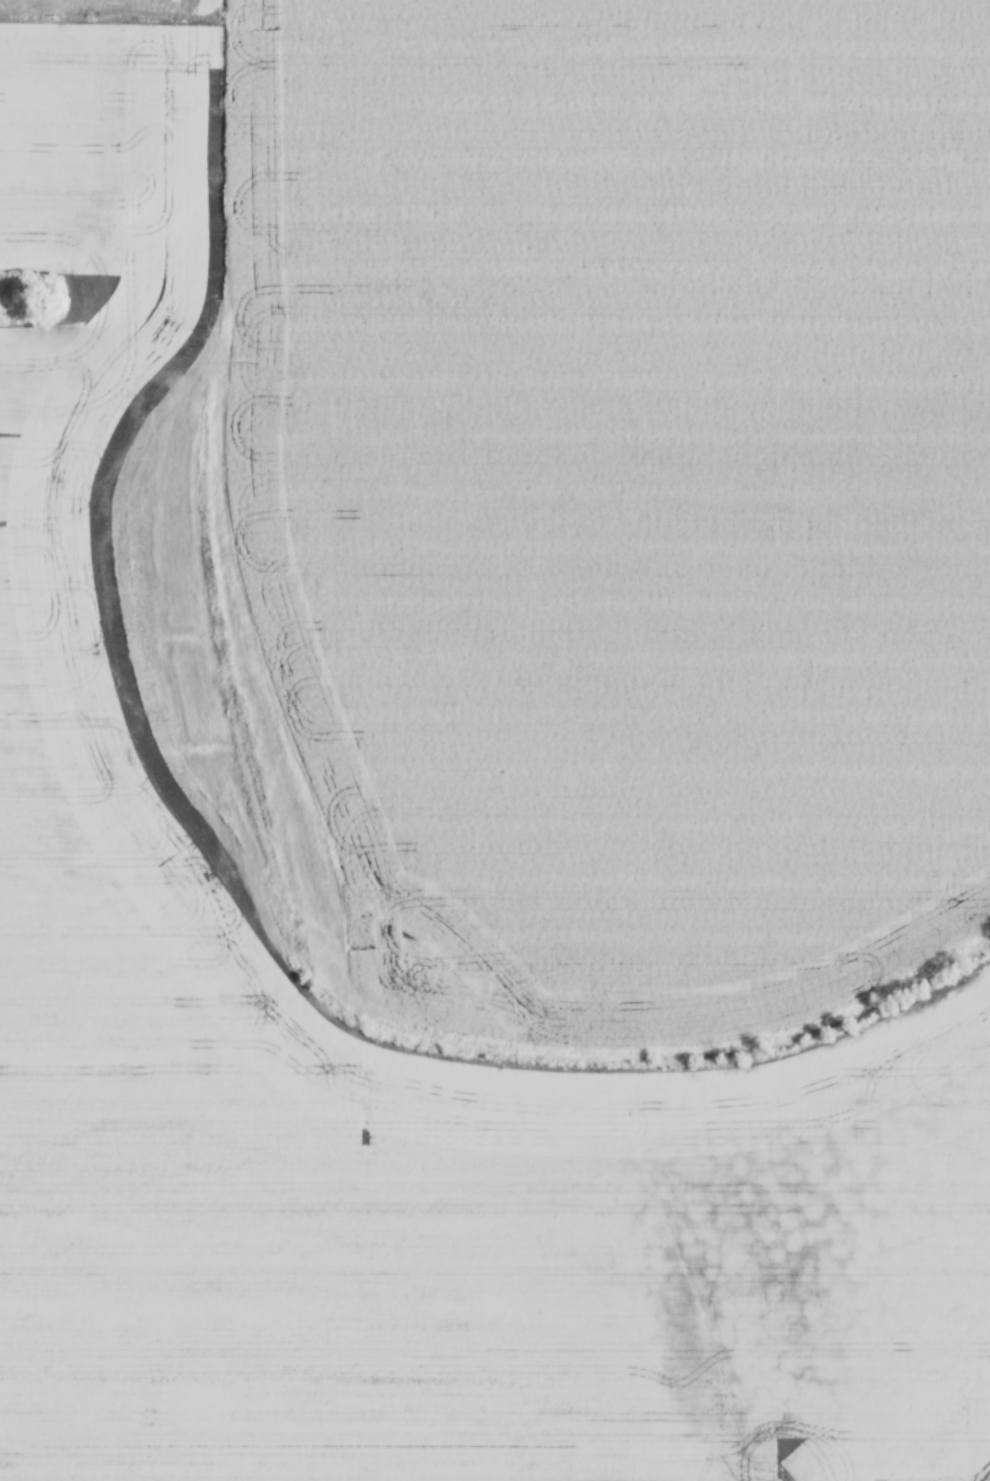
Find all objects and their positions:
power tower: (786, 1475)

